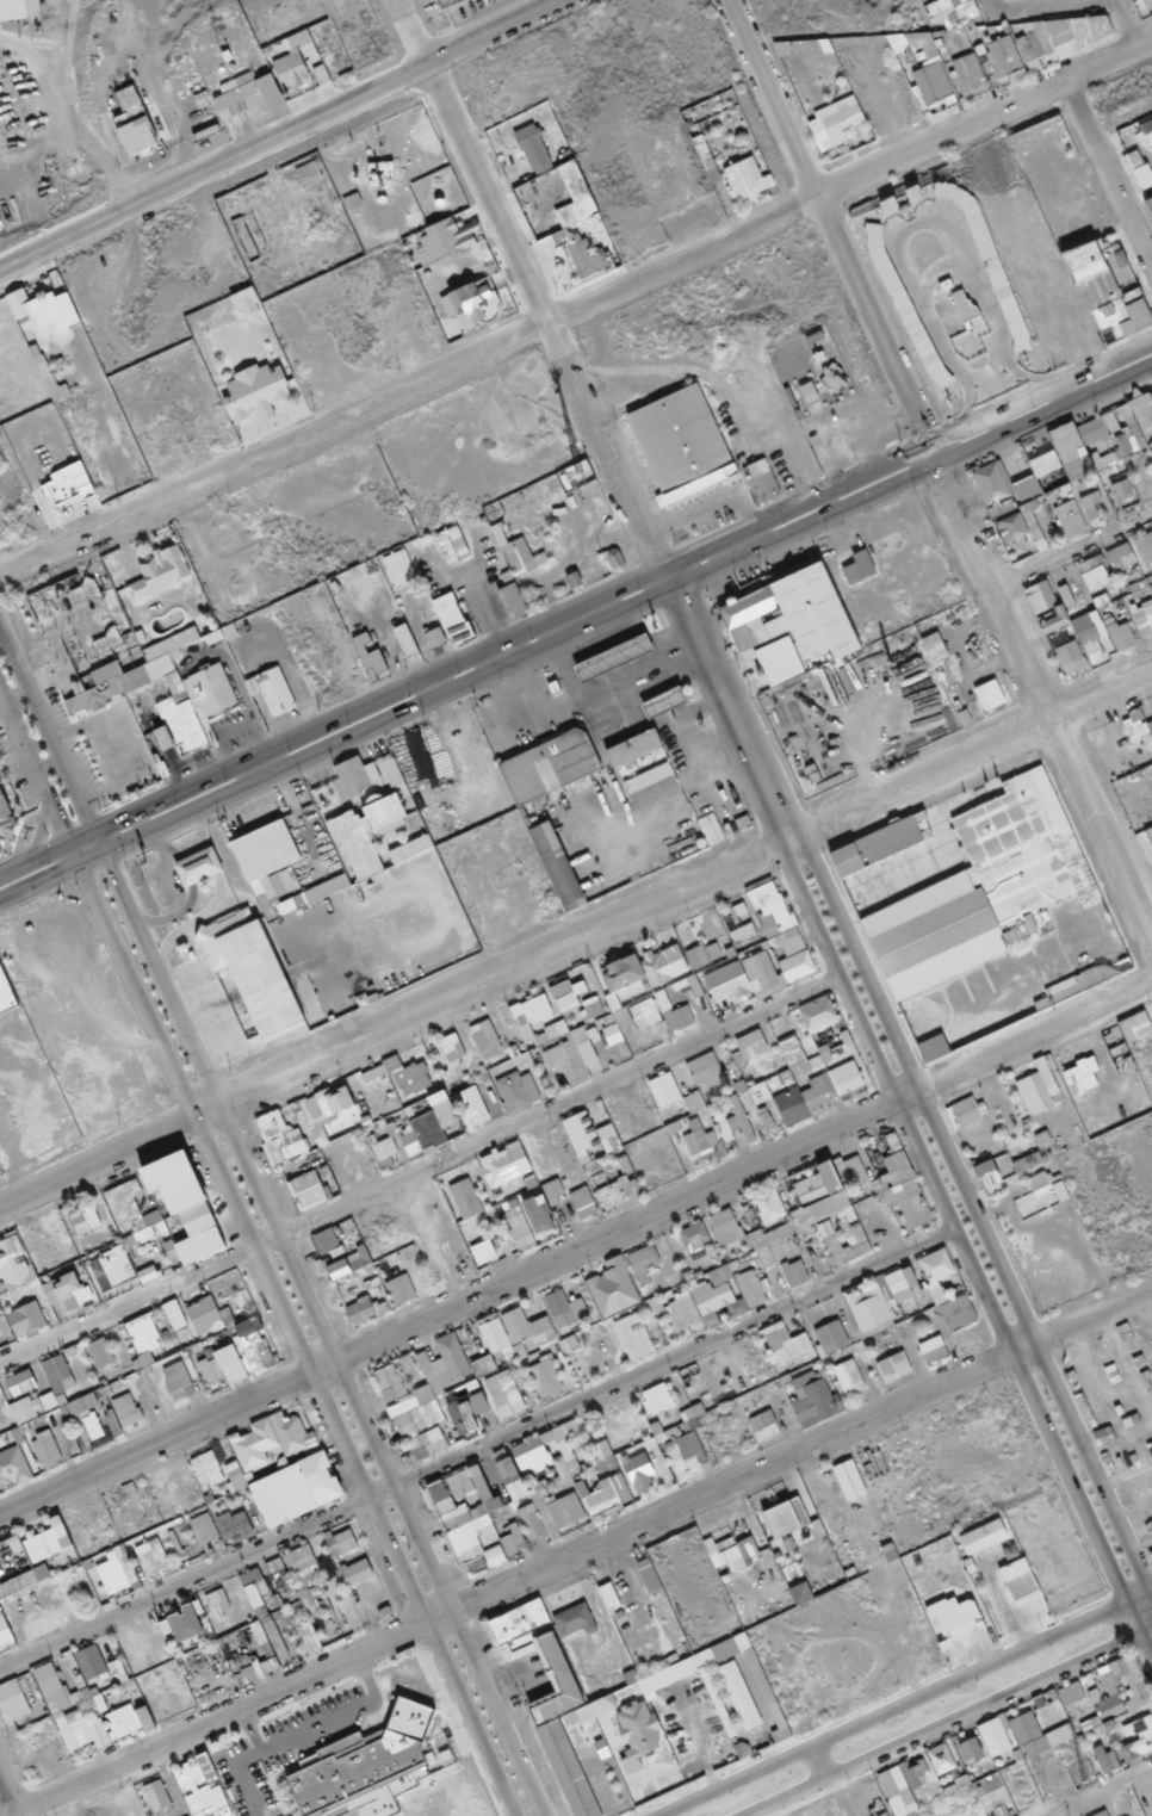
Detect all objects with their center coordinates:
road: (986, 4)
road: (1052, 10)
road: (1125, 24)
road: (279, 135)
road: (1108, 175)
road: (918, 224)
road: (939, 272)
road: (572, 305)
road: (1080, 386)
road: (582, 391)
road: (936, 471)
road: (1072, 553)
road: (575, 606)
road: (576, 632)
traffic signals: (92, 829)
traffic signals: (64, 842)
traffic signals: (103, 851)
traffic signals: (75, 864)
road: (575, 938)
road: (575, 1248)
road: (578, 1551)
road: (902, 1703)
road: (946, 1721)

